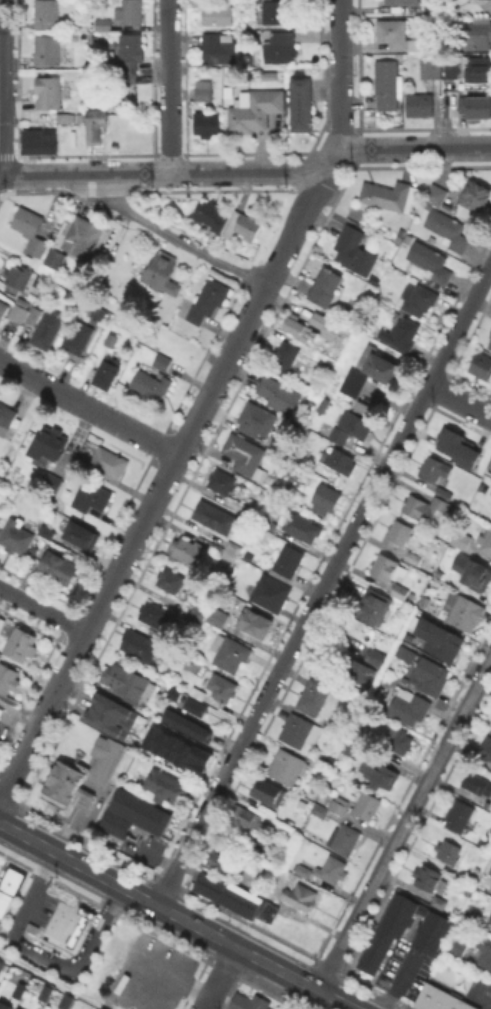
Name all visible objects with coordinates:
building: (402, 1)
building: (429, 7)
building: (130, 12)
building: (217, 12)
building: (276, 12)
building: (46, 13)
building: (103, 23)
building: (395, 34)
building: (472, 34)
building: (83, 36)
building: (131, 46)
building: (280, 47)
building: (217, 48)
building: (49, 49)
building: (431, 65)
building: (453, 70)
building: (479, 71)
building: (123, 74)
road: (340, 74)
building: (387, 83)
road: (169, 86)
building: (203, 89)
building: (50, 91)
building: (420, 104)
building: (301, 105)
building: (479, 109)
building: (256, 112)
building: (64, 117)
building: (207, 123)
building: (97, 126)
building: (37, 142)
road: (414, 148)
road: (329, 163)
road: (161, 173)
building: (436, 194)
building: (475, 194)
building: (386, 196)
building: (210, 214)
building: (27, 222)
building: (242, 225)
road: (294, 231)
building: (450, 232)
road: (174, 237)
building: (83, 238)
building: (38, 248)
building: (355, 254)
building: (55, 261)
building: (431, 263)
building: (162, 273)
building: (18, 278)
building: (325, 286)
building: (421, 299)
building: (208, 300)
road: (112, 305)
building: (3, 308)
building: (19, 311)
building: (33, 314)
building: (323, 325)
building: (298, 328)
building: (47, 331)
building: (401, 333)
building: (490, 335)
building: (78, 337)
building: (112, 337)
building: (489, 344)
building: (284, 356)
building: (319, 359)
building: (162, 361)
building: (482, 365)
building: (370, 369)
building: (107, 371)
building: (150, 384)
building: (278, 393)
road: (460, 401)
road: (89, 407)
building: (6, 417)
building: (256, 418)
building: (351, 425)
building: (48, 444)
building: (461, 448)
building: (246, 455)
building: (341, 459)
building: (107, 463)
building: (489, 465)
building: (434, 468)
building: (50, 481)
building: (222, 481)
building: (444, 492)
building: (92, 496)
building: (326, 498)
building: (440, 502)
building: (423, 508)
building: (249, 512)
building: (215, 516)
road: (97, 524)
building: (270, 524)
building: (303, 527)
building: (48, 532)
building: (398, 533)
building: (82, 534)
building: (16, 535)
building: (461, 539)
road: (133, 540)
building: (485, 542)
building: (186, 548)
building: (231, 550)
building: (414, 557)
building: (288, 559)
building: (59, 567)
building: (388, 567)
building: (472, 571)
building: (170, 579)
road: (323, 585)
building: (399, 590)
building: (272, 594)
building: (375, 609)
road: (42, 610)
building: (463, 610)
building: (153, 613)
building: (197, 614)
building: (217, 616)
building: (255, 622)
building: (3, 625)
building: (406, 636)
building: (437, 638)
building: (21, 643)
building: (140, 644)
building: (230, 651)
building: (0, 652)
building: (403, 652)
building: (375, 656)
building: (360, 670)
building: (429, 675)
building: (8, 678)
building: (125, 682)
building: (221, 686)
building: (174, 692)
building: (198, 692)
building: (316, 696)
building: (409, 705)
building: (194, 706)
road: (19, 712)
building: (111, 720)
building: (188, 729)
building: (300, 729)
building: (0, 740)
building: (401, 741)
building: (354, 748)
building: (176, 749)
building: (486, 751)
building: (105, 763)
building: (326, 765)
building: (286, 767)
building: (378, 772)
building: (477, 782)
building: (68, 783)
building: (165, 785)
building: (269, 790)
building: (339, 804)
building: (366, 804)
building: (320, 809)
building: (135, 813)
building: (459, 814)
building: (246, 815)
road: (404, 824)
building: (344, 838)
building: (448, 850)
building: (218, 859)
building: (306, 866)
building: (332, 868)
building: (472, 873)
building: (429, 877)
building: (9, 885)
building: (218, 887)
building: (490, 889)
building: (301, 895)
building: (439, 901)
building: (247, 902)
road: (65, 908)
building: (264, 909)
road: (176, 915)
building: (490, 917)
building: (1, 920)
building: (430, 932)
building: (50, 935)
building: (460, 941)
building: (484, 950)
road: (40, 957)
building: (1, 962)
building: (2, 970)
road: (176, 974)
road: (219, 977)
road: (53, 981)
road: (399, 981)
building: (18, 989)
building: (46, 993)
road: (480, 995)
building: (441, 999)
building: (63, 1000)
building: (250, 1001)
building: (5, 1005)
building: (283, 1008)

